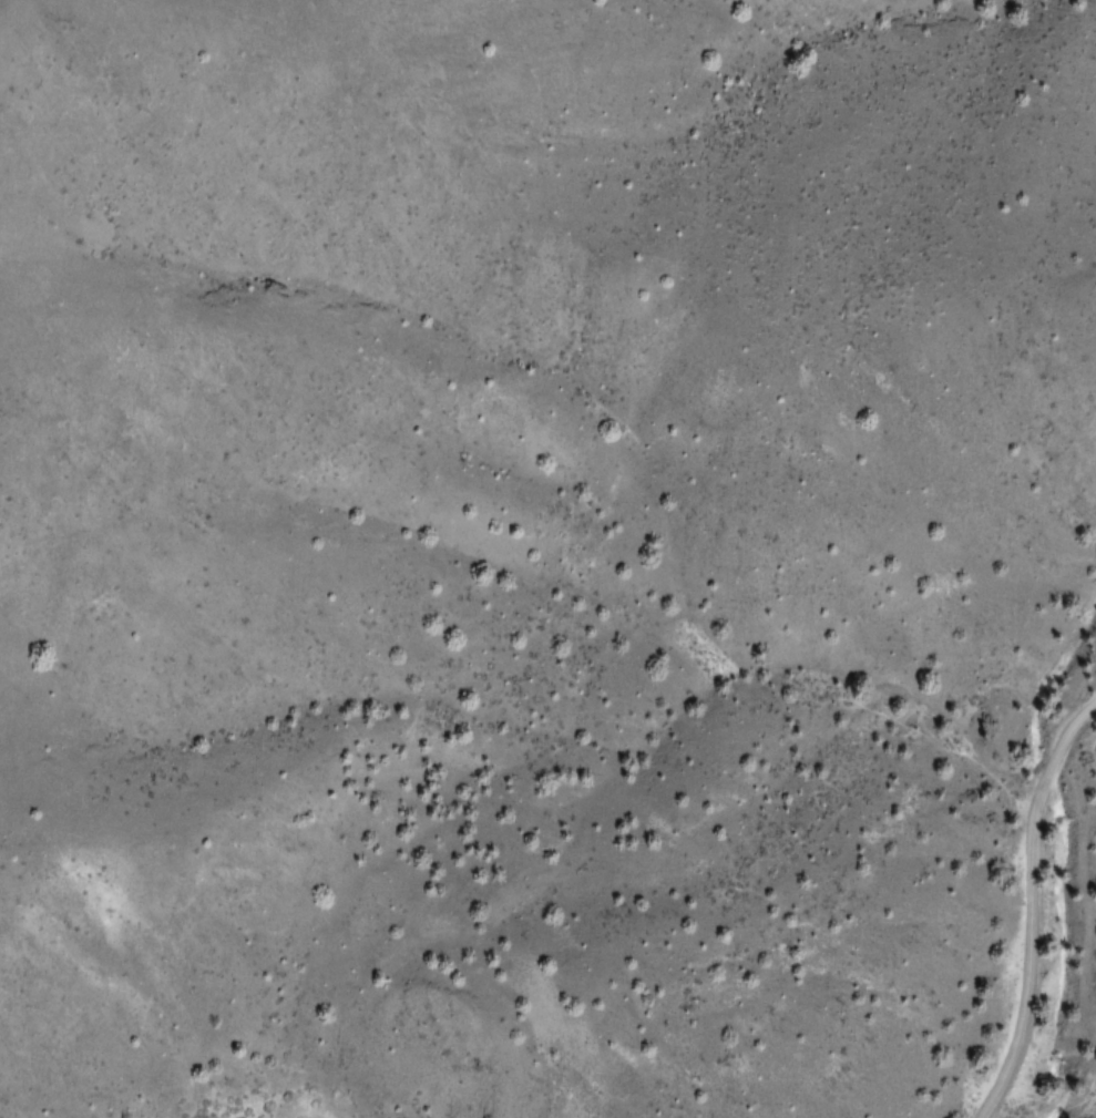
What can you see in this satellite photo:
road: (1030, 902)

